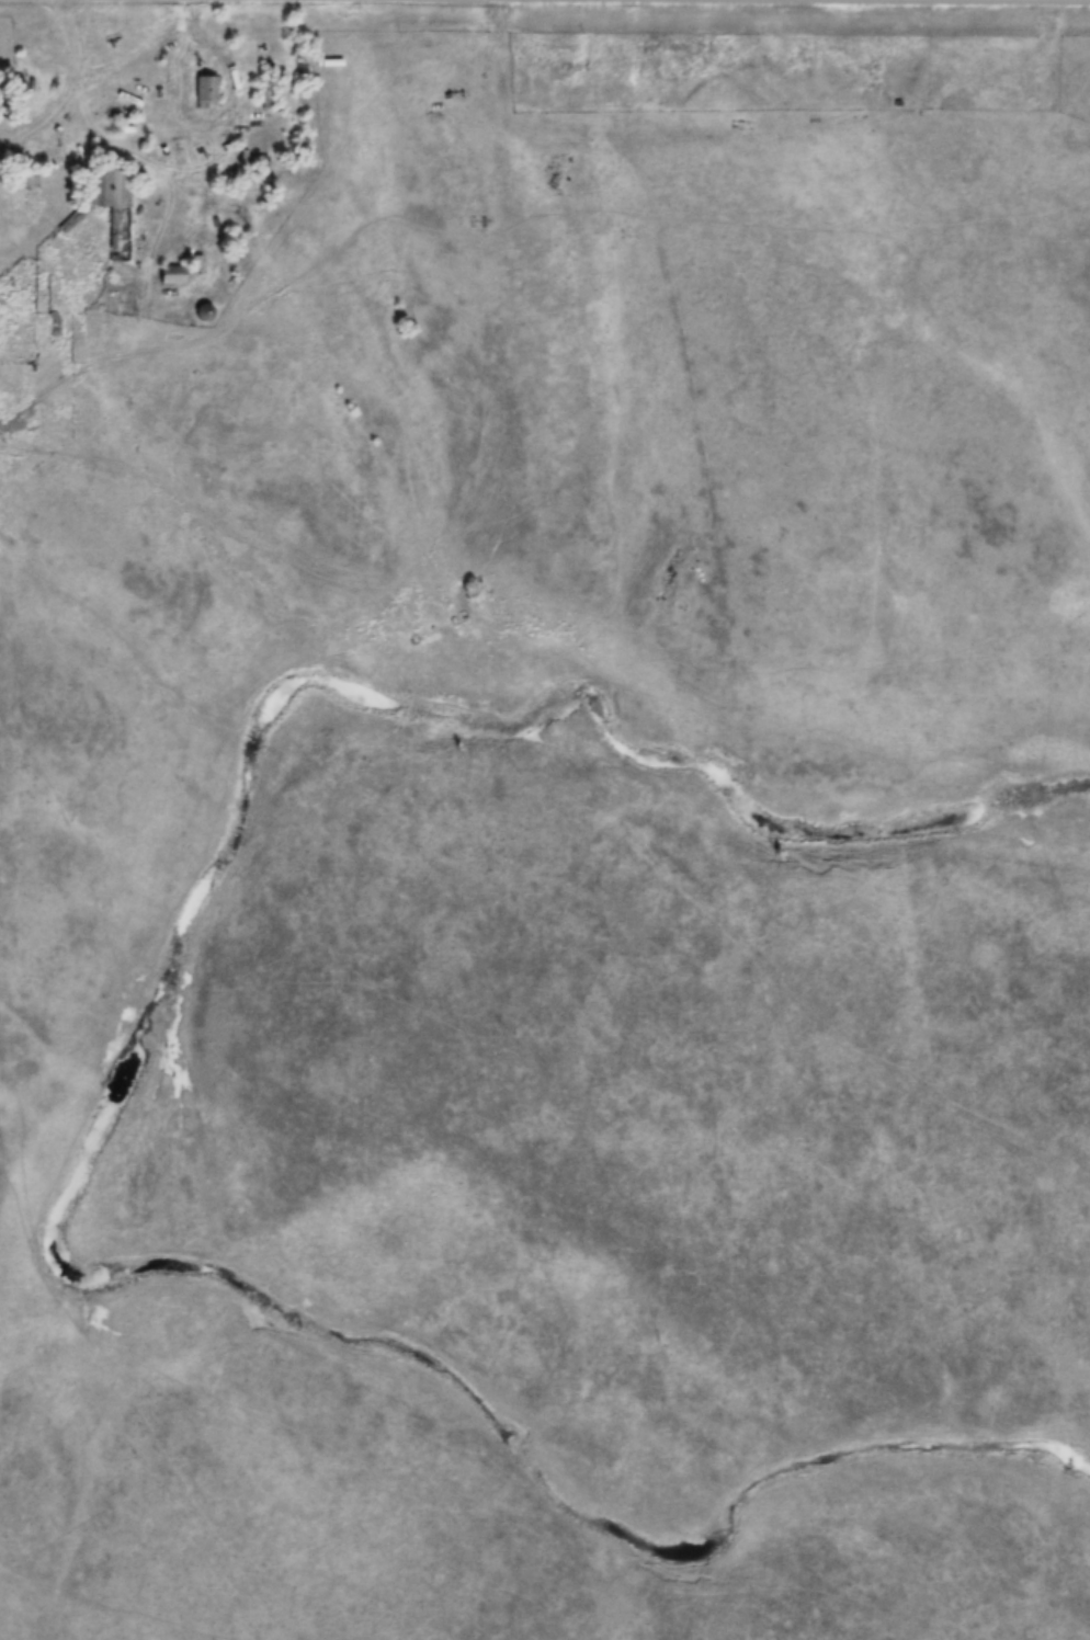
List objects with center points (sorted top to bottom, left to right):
building: (264, 84)
building: (205, 91)
building: (113, 206)
building: (170, 274)
building: (203, 311)

